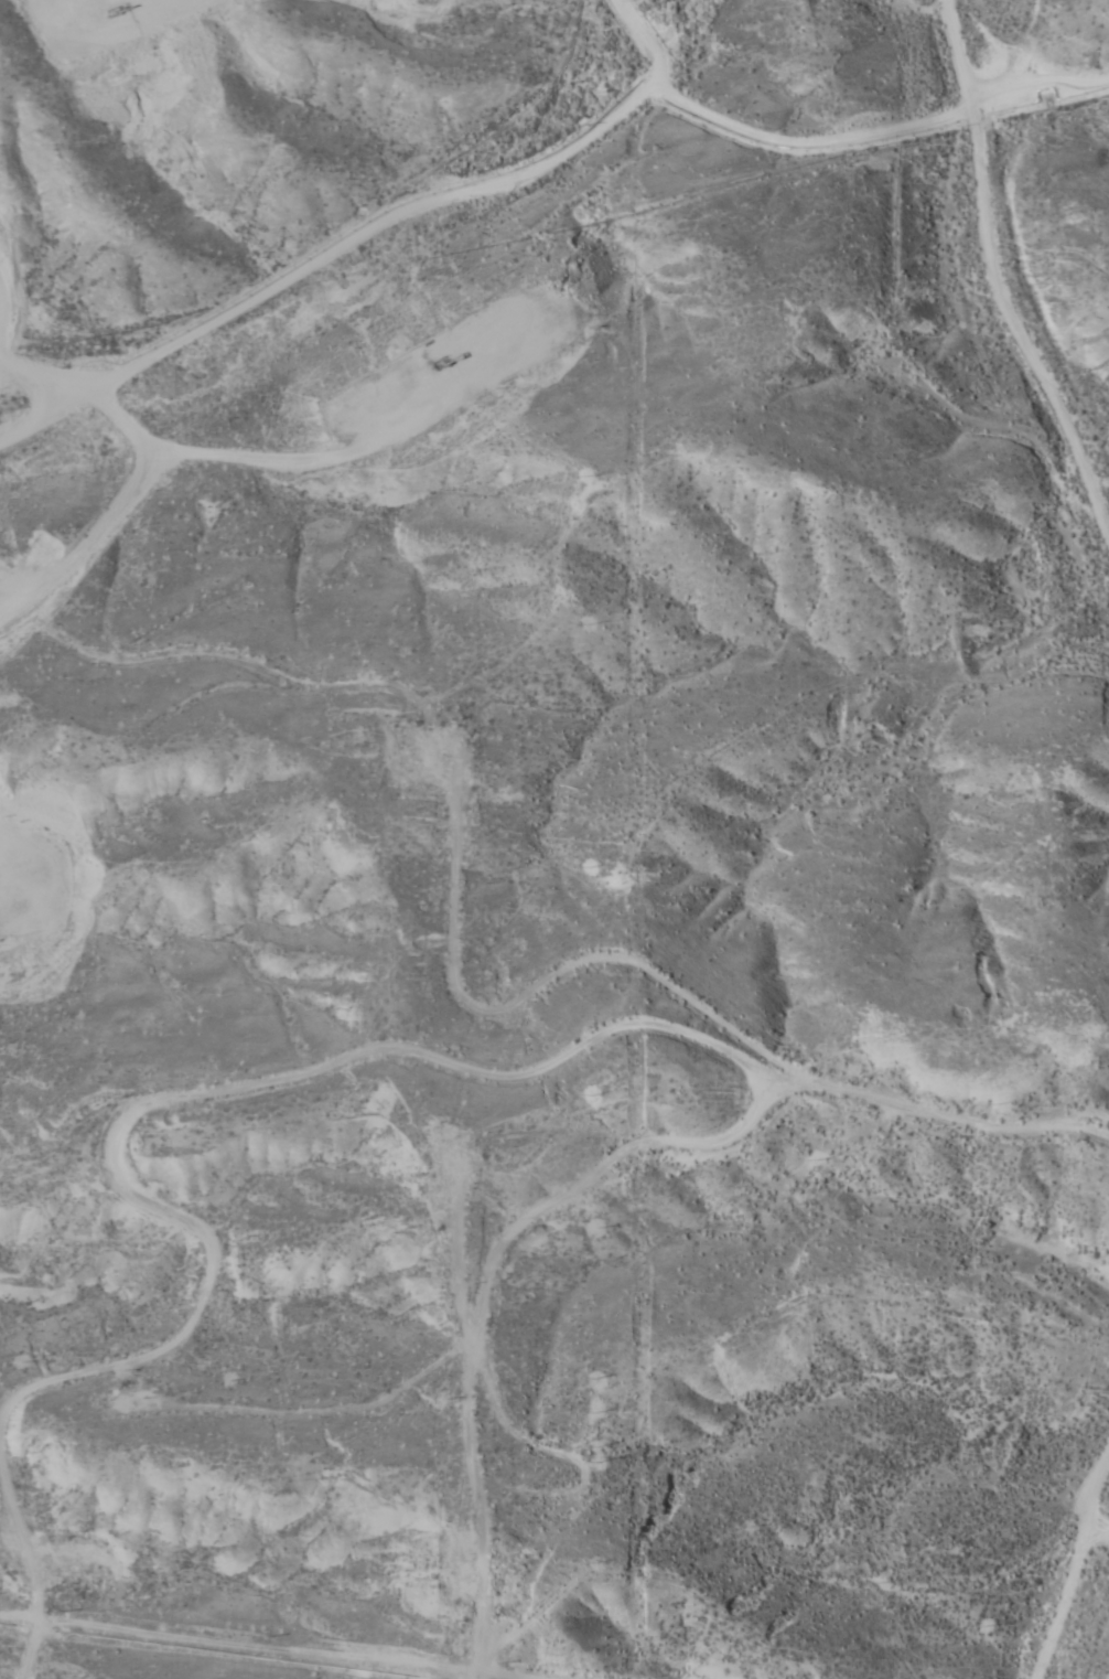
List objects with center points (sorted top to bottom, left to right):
road: (359, 234)
road: (1001, 264)
road: (62, 346)
road: (946, 408)
road: (515, 1074)
road: (794, 1099)
road: (46, 1402)
road: (1070, 1497)
road: (1044, 1594)

